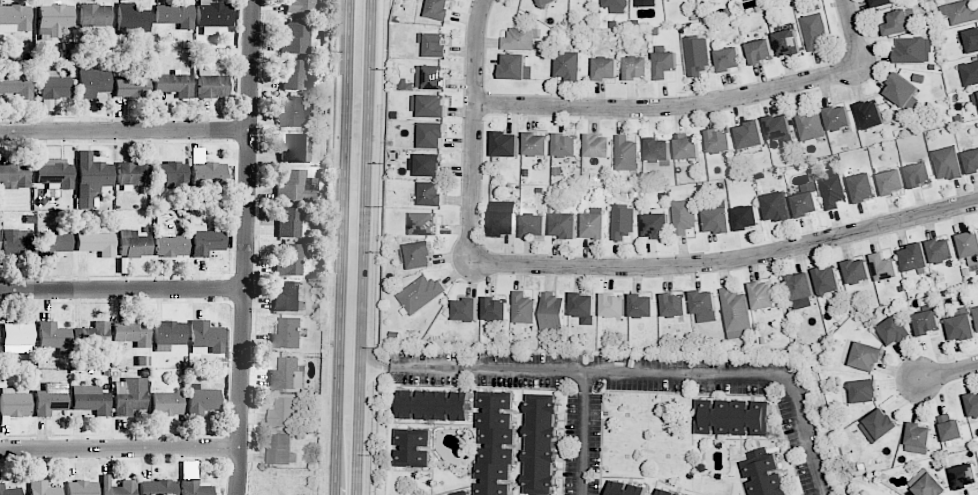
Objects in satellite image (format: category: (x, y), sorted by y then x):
building: (642, 0)
building: (652, 2)
building: (883, 2)
building: (546, 3)
building: (617, 5)
building: (300, 6)
building: (440, 9)
building: (960, 11)
building: (95, 15)
building: (175, 15)
building: (213, 16)
building: (54, 17)
building: (14, 18)
building: (132, 18)
building: (902, 21)
building: (615, 24)
building: (814, 31)
building: (297, 39)
building: (521, 39)
building: (973, 40)
building: (789, 42)
building: (436, 43)
building: (914, 49)
building: (762, 51)
building: (698, 54)
building: (729, 58)
building: (666, 63)
building: (573, 65)
building: (639, 67)
building: (517, 68)
building: (607, 68)
building: (970, 74)
building: (294, 75)
building: (432, 75)
road: (336, 76)
building: (92, 82)
building: (174, 84)
building: (211, 85)
building: (17, 86)
building: (55, 86)
building: (132, 86)
building: (904, 91)
building: (975, 98)
road: (704, 103)
building: (433, 105)
building: (294, 112)
building: (872, 114)
building: (839, 117)
building: (811, 123)
building: (779, 126)
road: (473, 130)
road: (126, 132)
building: (434, 133)
building: (752, 135)
building: (720, 139)
building: (506, 143)
building: (537, 144)
building: (566, 145)
building: (598, 145)
building: (689, 147)
building: (295, 149)
building: (659, 149)
building: (626, 153)
building: (973, 161)
building: (948, 163)
building: (431, 164)
building: (54, 172)
building: (132, 174)
building: (170, 174)
building: (922, 174)
building: (14, 176)
building: (206, 176)
building: (91, 179)
building: (894, 181)
building: (295, 187)
building: (865, 187)
building: (834, 191)
building: (433, 194)
building: (807, 204)
building: (779, 206)
building: (685, 216)
building: (748, 217)
building: (720, 220)
building: (289, 222)
building: (505, 222)
building: (623, 222)
building: (427, 224)
building: (566, 224)
building: (536, 225)
building: (596, 225)
building: (658, 225)
building: (206, 241)
building: (17, 243)
building: (54, 243)
building: (97, 244)
building: (133, 244)
building: (171, 244)
building: (971, 245)
road: (248, 247)
road: (340, 247)
road: (362, 247)
road: (374, 247)
building: (943, 249)
building: (419, 255)
building: (916, 256)
road: (726, 260)
building: (288, 261)
building: (886, 267)
building: (858, 270)
building: (828, 280)
building: (803, 289)
road: (123, 290)
building: (422, 294)
building: (764, 295)
building: (288, 297)
building: (615, 304)
building: (644, 305)
building: (704, 305)
building: (585, 306)
building: (677, 307)
building: (496, 308)
building: (468, 309)
building: (524, 309)
building: (977, 310)
building: (552, 311)
building: (736, 313)
building: (929, 320)
road: (329, 323)
building: (964, 324)
building: (897, 329)
building: (132, 333)
building: (170, 333)
building: (287, 334)
building: (92, 335)
building: (18, 336)
building: (207, 336)
building: (54, 337)
building: (868, 356)
road: (368, 366)
road: (643, 373)
road: (950, 374)
building: (286, 375)
building: (867, 390)
building: (129, 396)
building: (50, 399)
building: (90, 400)
building: (202, 400)
building: (14, 403)
building: (166, 404)
building: (436, 404)
building: (973, 404)
building: (284, 413)
building: (736, 416)
building: (879, 426)
building: (952, 427)
road: (584, 433)
building: (919, 435)
building: (498, 442)
building: (544, 443)
building: (416, 447)
road: (119, 449)
building: (281, 449)
building: (767, 475)
building: (966, 475)
building: (929, 483)
building: (117, 487)
building: (158, 487)
building: (43, 488)
building: (82, 488)
building: (194, 488)
building: (628, 488)
building: (9, 490)
building: (669, 492)
building: (465, 493)

